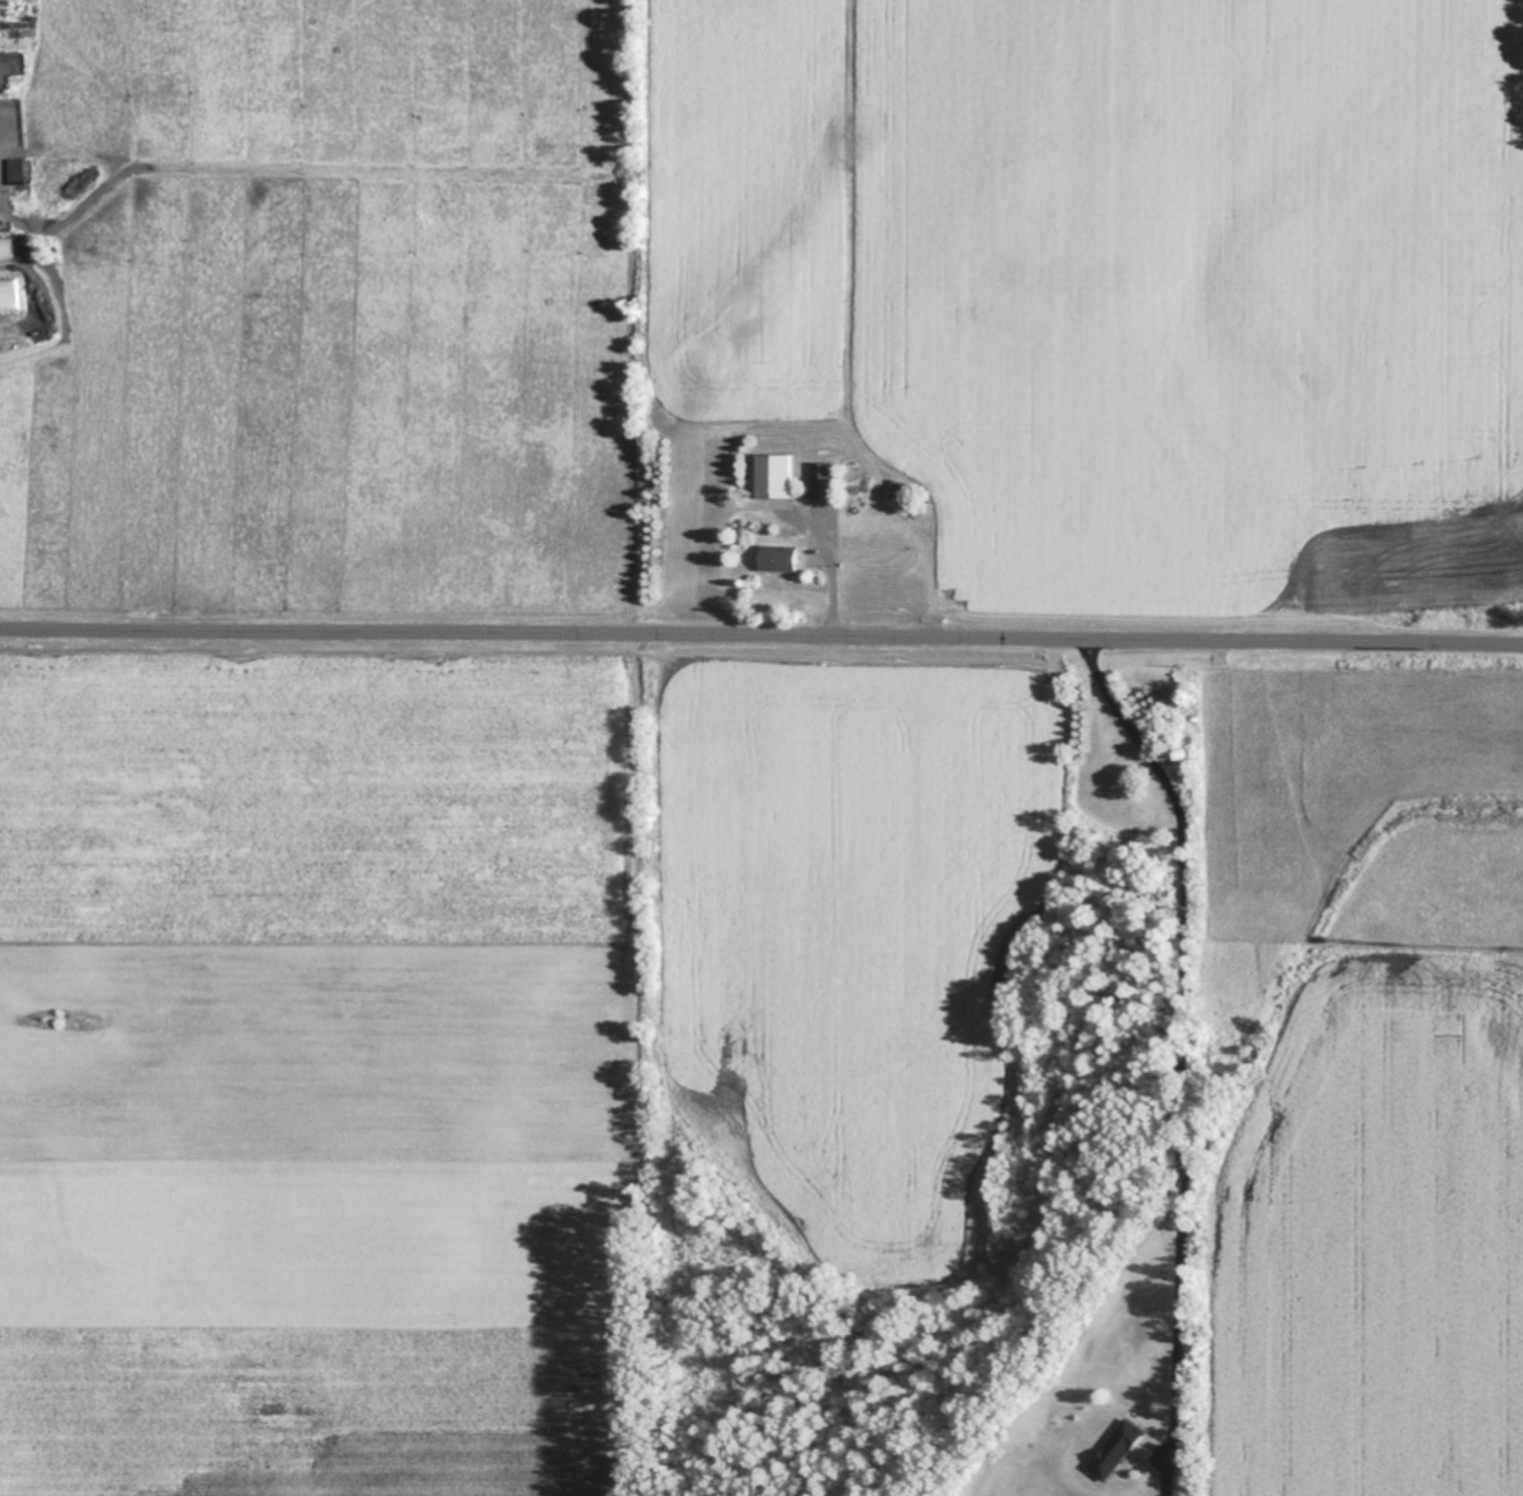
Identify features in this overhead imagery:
building: (18, 170)
building: (9, 245)
building: (10, 297)
building: (776, 474)
building: (823, 480)
building: (901, 484)
building: (899, 505)
building: (779, 558)
road: (761, 637)
road: (1185, 1054)
building: (1119, 1448)

